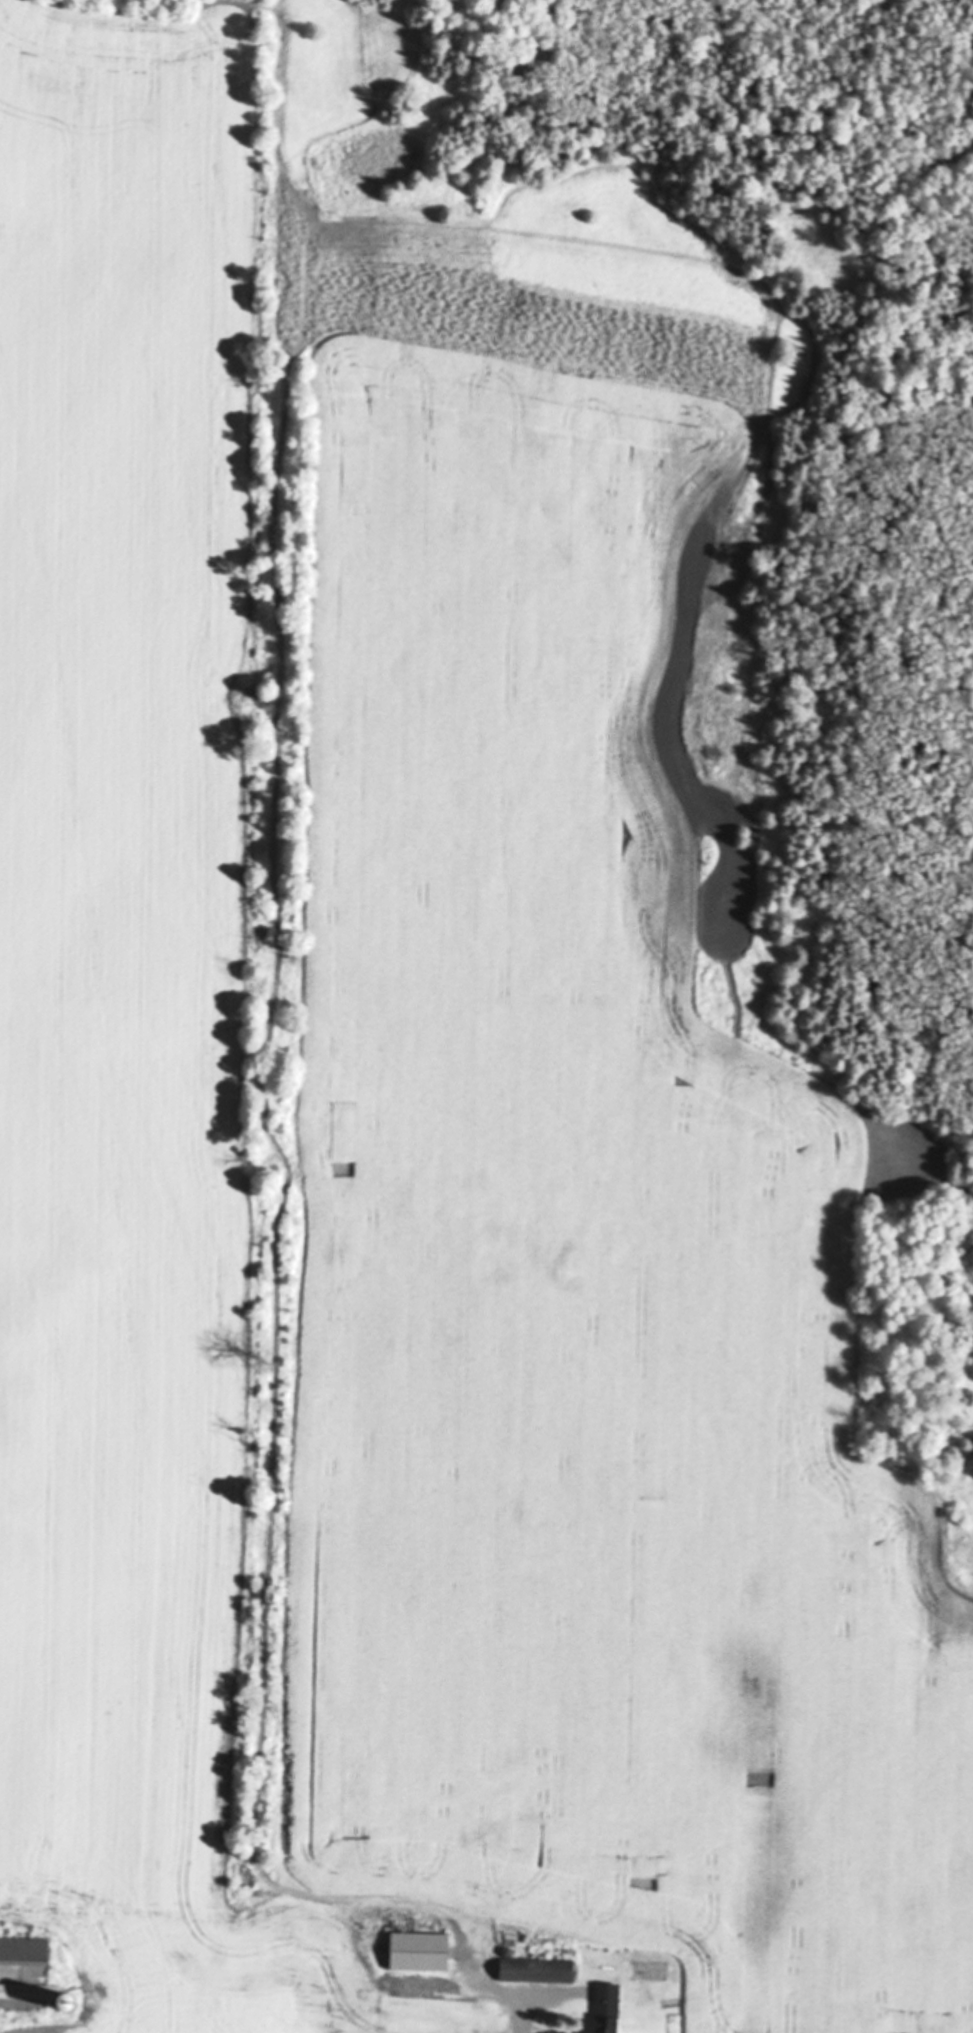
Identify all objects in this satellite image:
building: (24, 1953)
building: (405, 1953)
building: (536, 1972)
building: (38, 1996)
building: (608, 2009)
building: (398, 2019)

